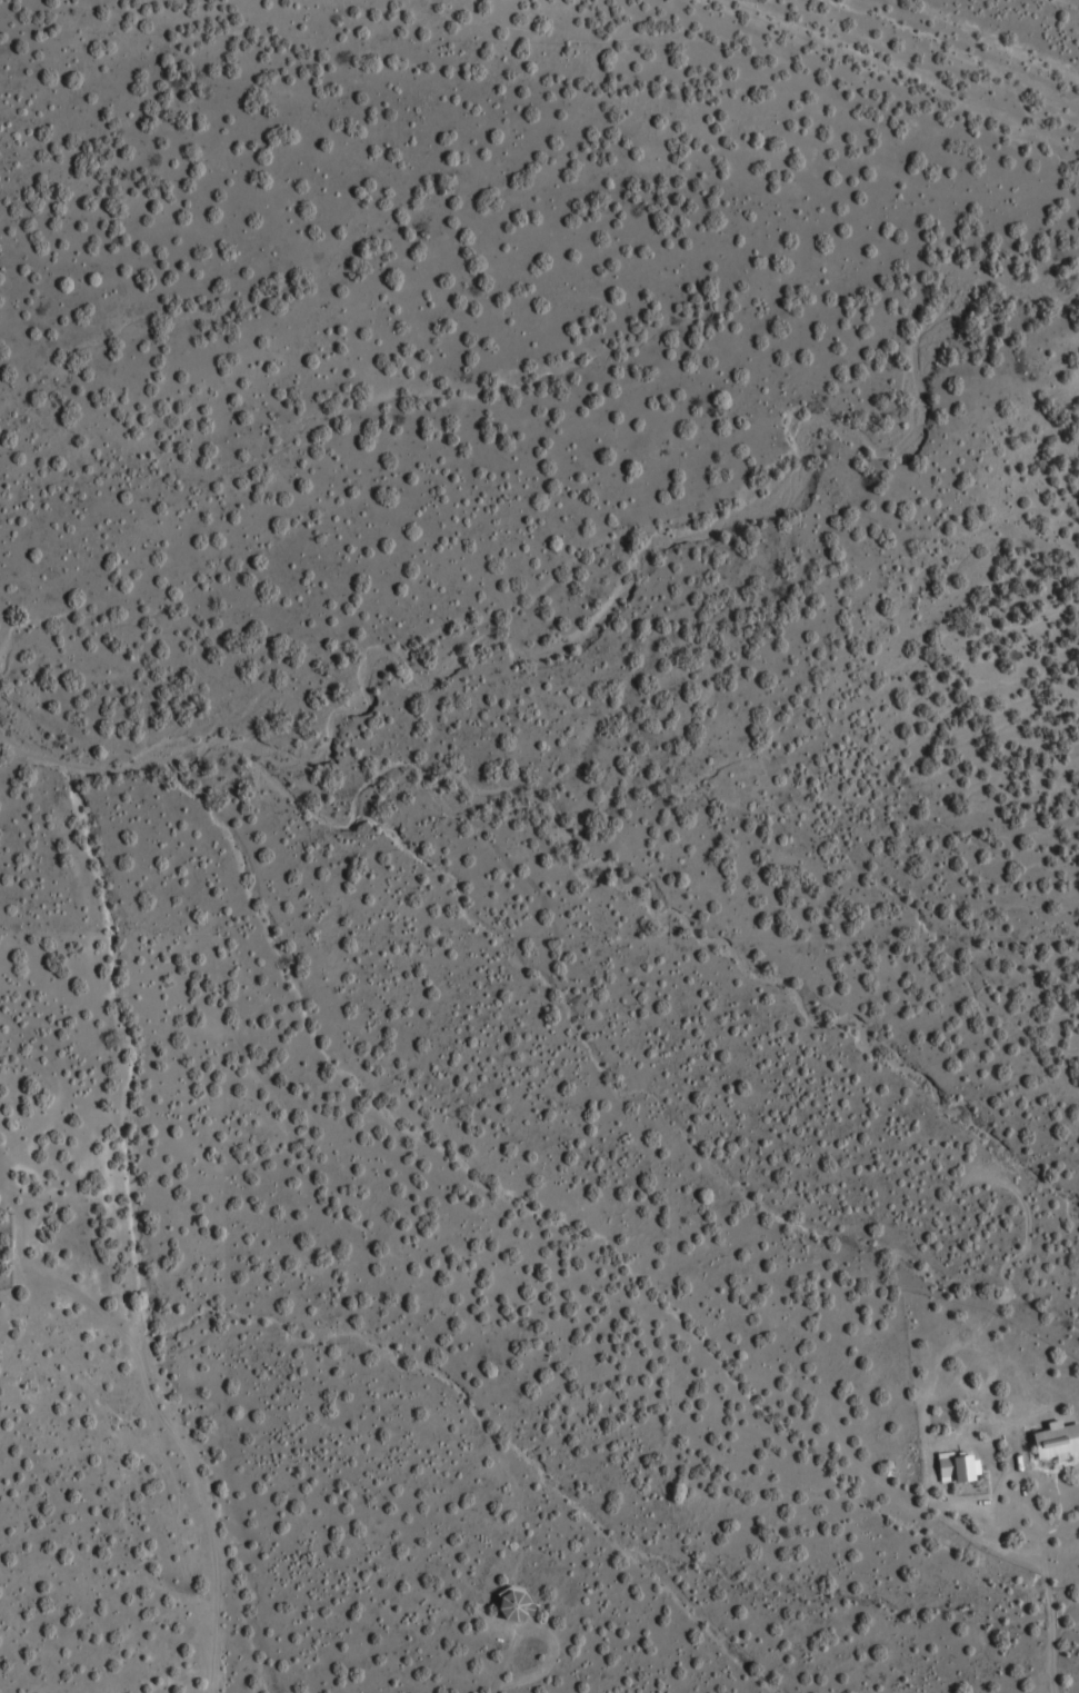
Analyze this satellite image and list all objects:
building: (1059, 1440)
building: (966, 1467)
building: (519, 1603)

